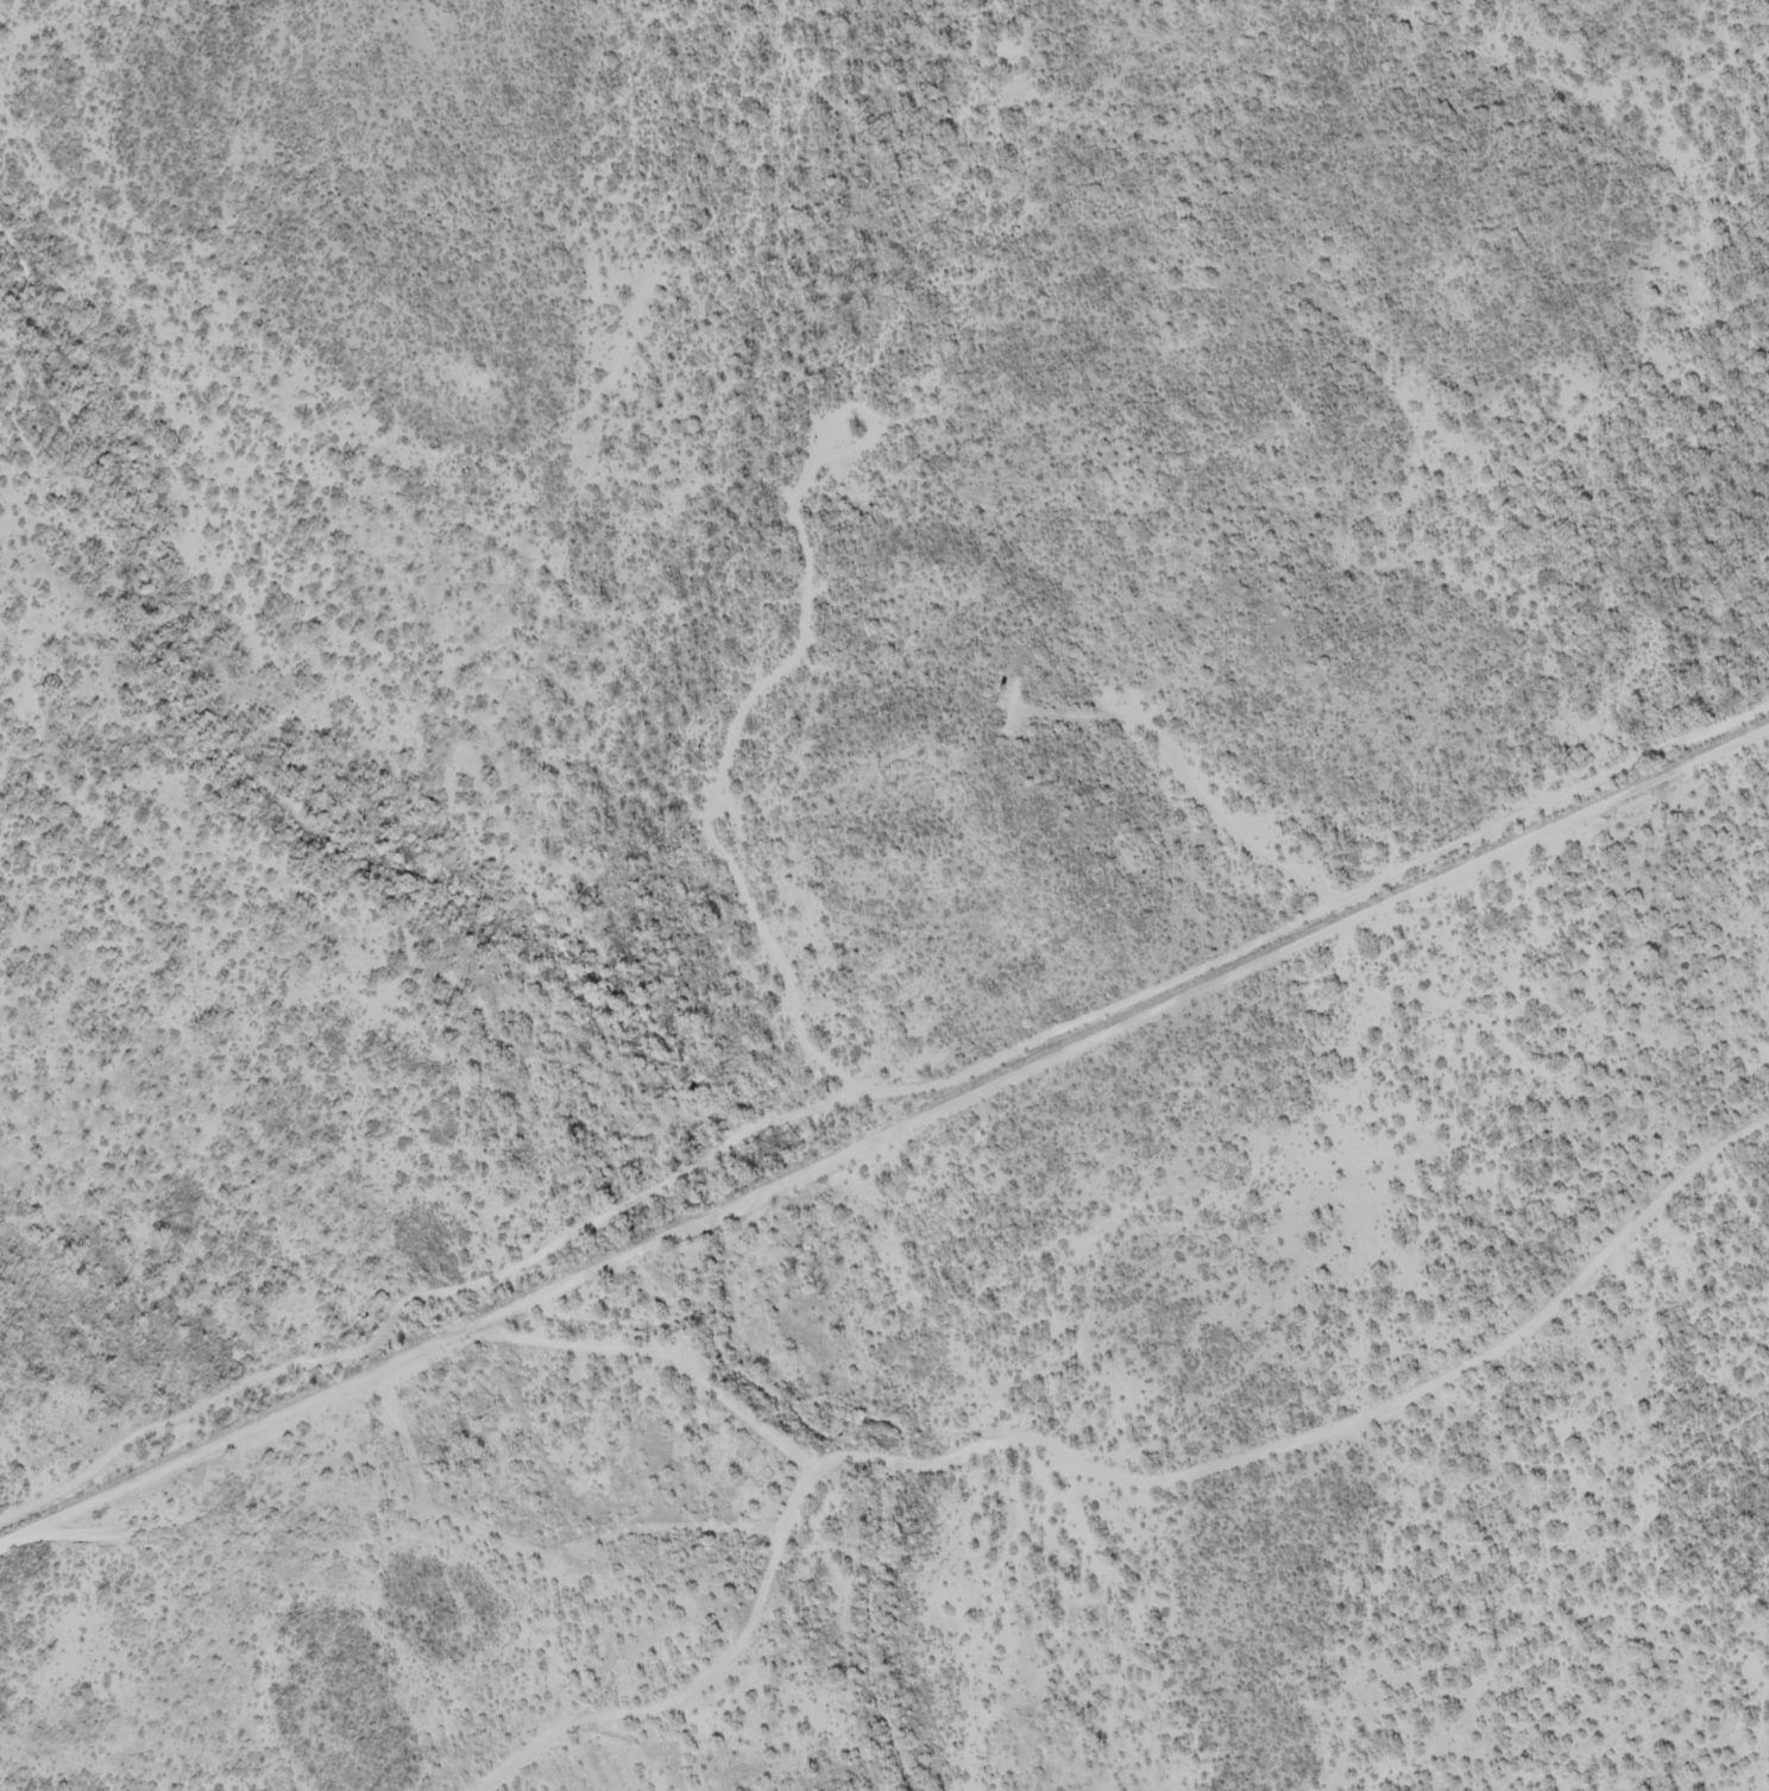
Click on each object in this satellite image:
road: (885, 1122)

